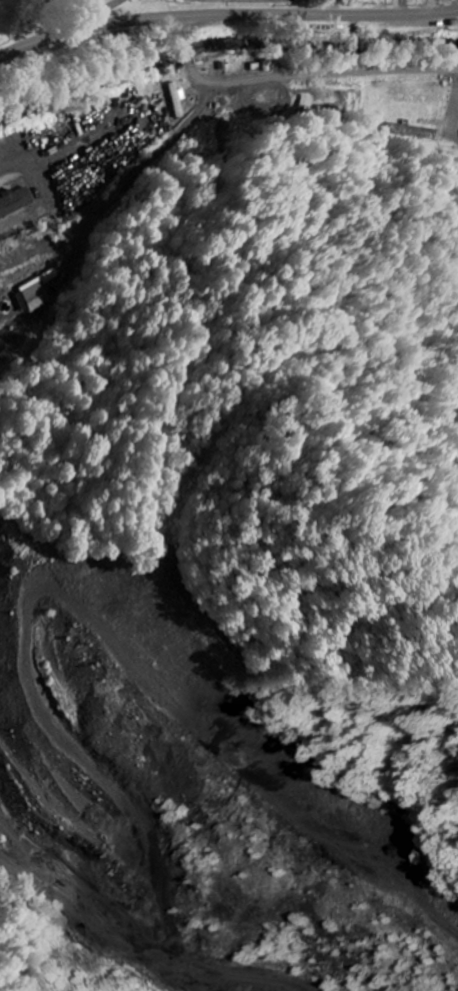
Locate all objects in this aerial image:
road: (432, 6)
road: (306, 7)
road: (97, 11)
road: (226, 14)
road: (293, 79)
building: (178, 98)
building: (308, 102)
building: (417, 130)
building: (14, 200)
building: (36, 293)

